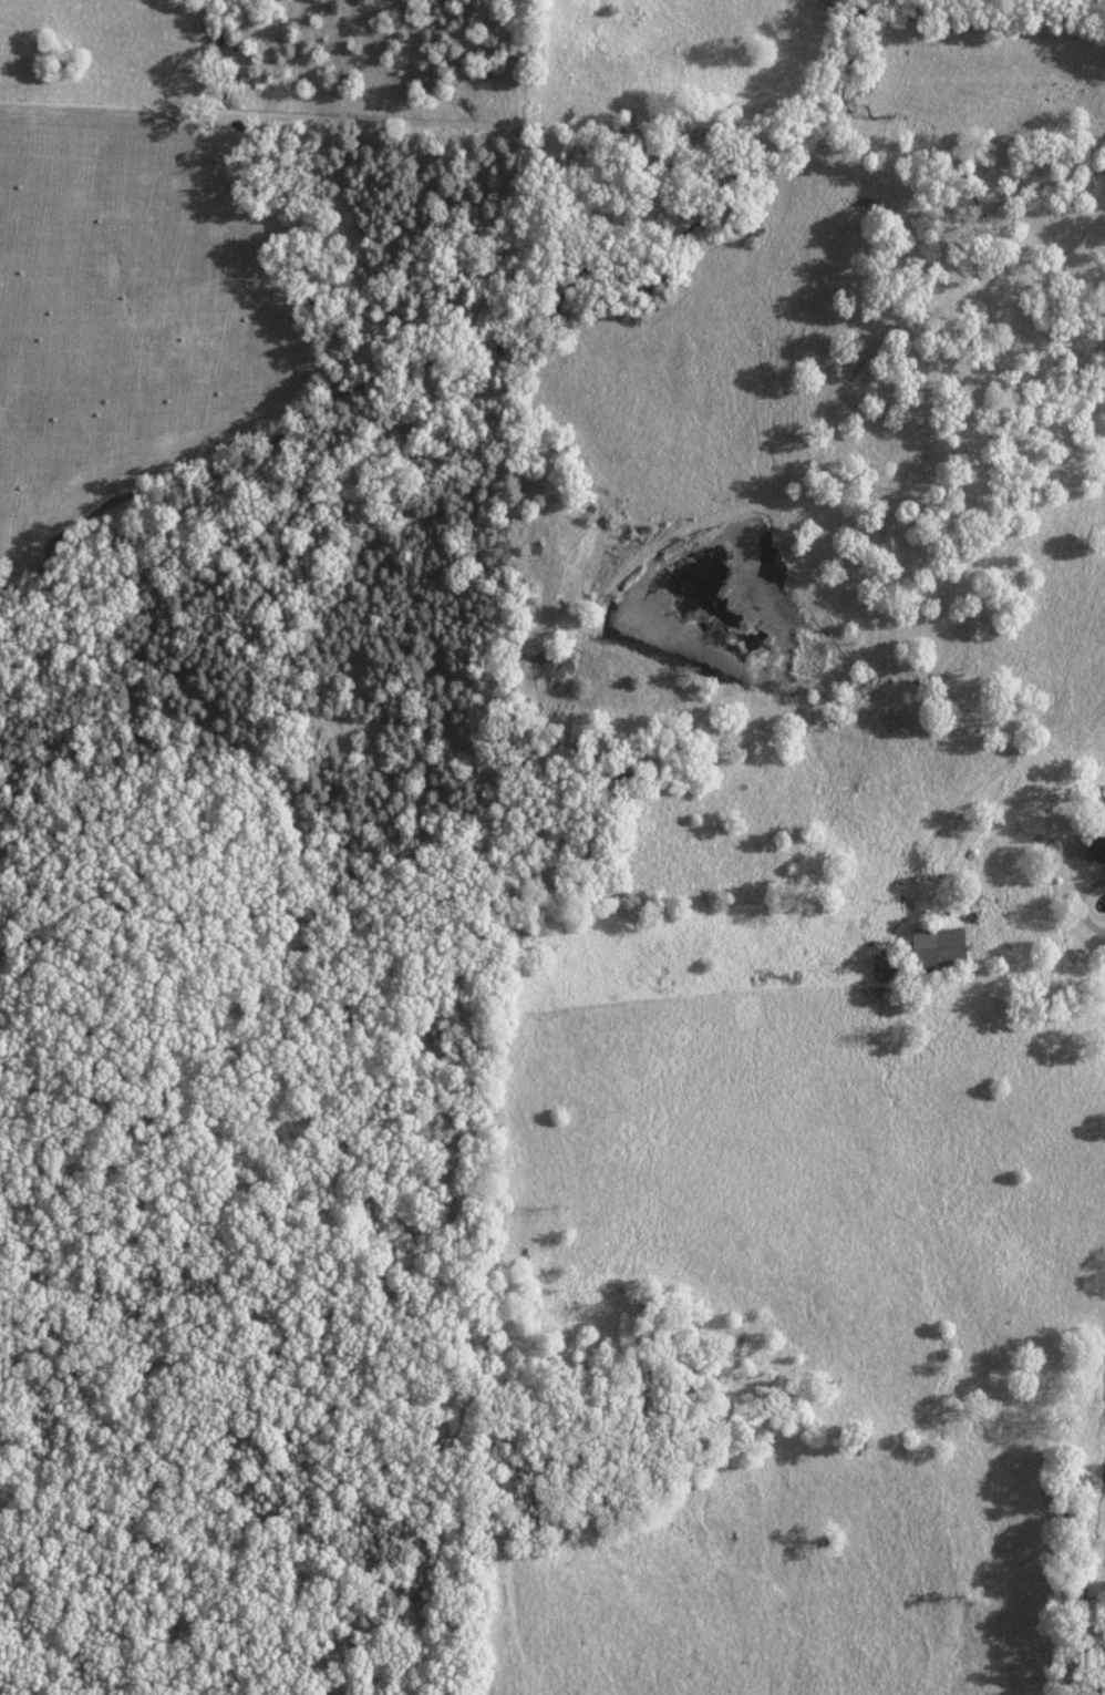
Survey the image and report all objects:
building: (1093, 846)
road: (1080, 904)
building: (937, 951)

